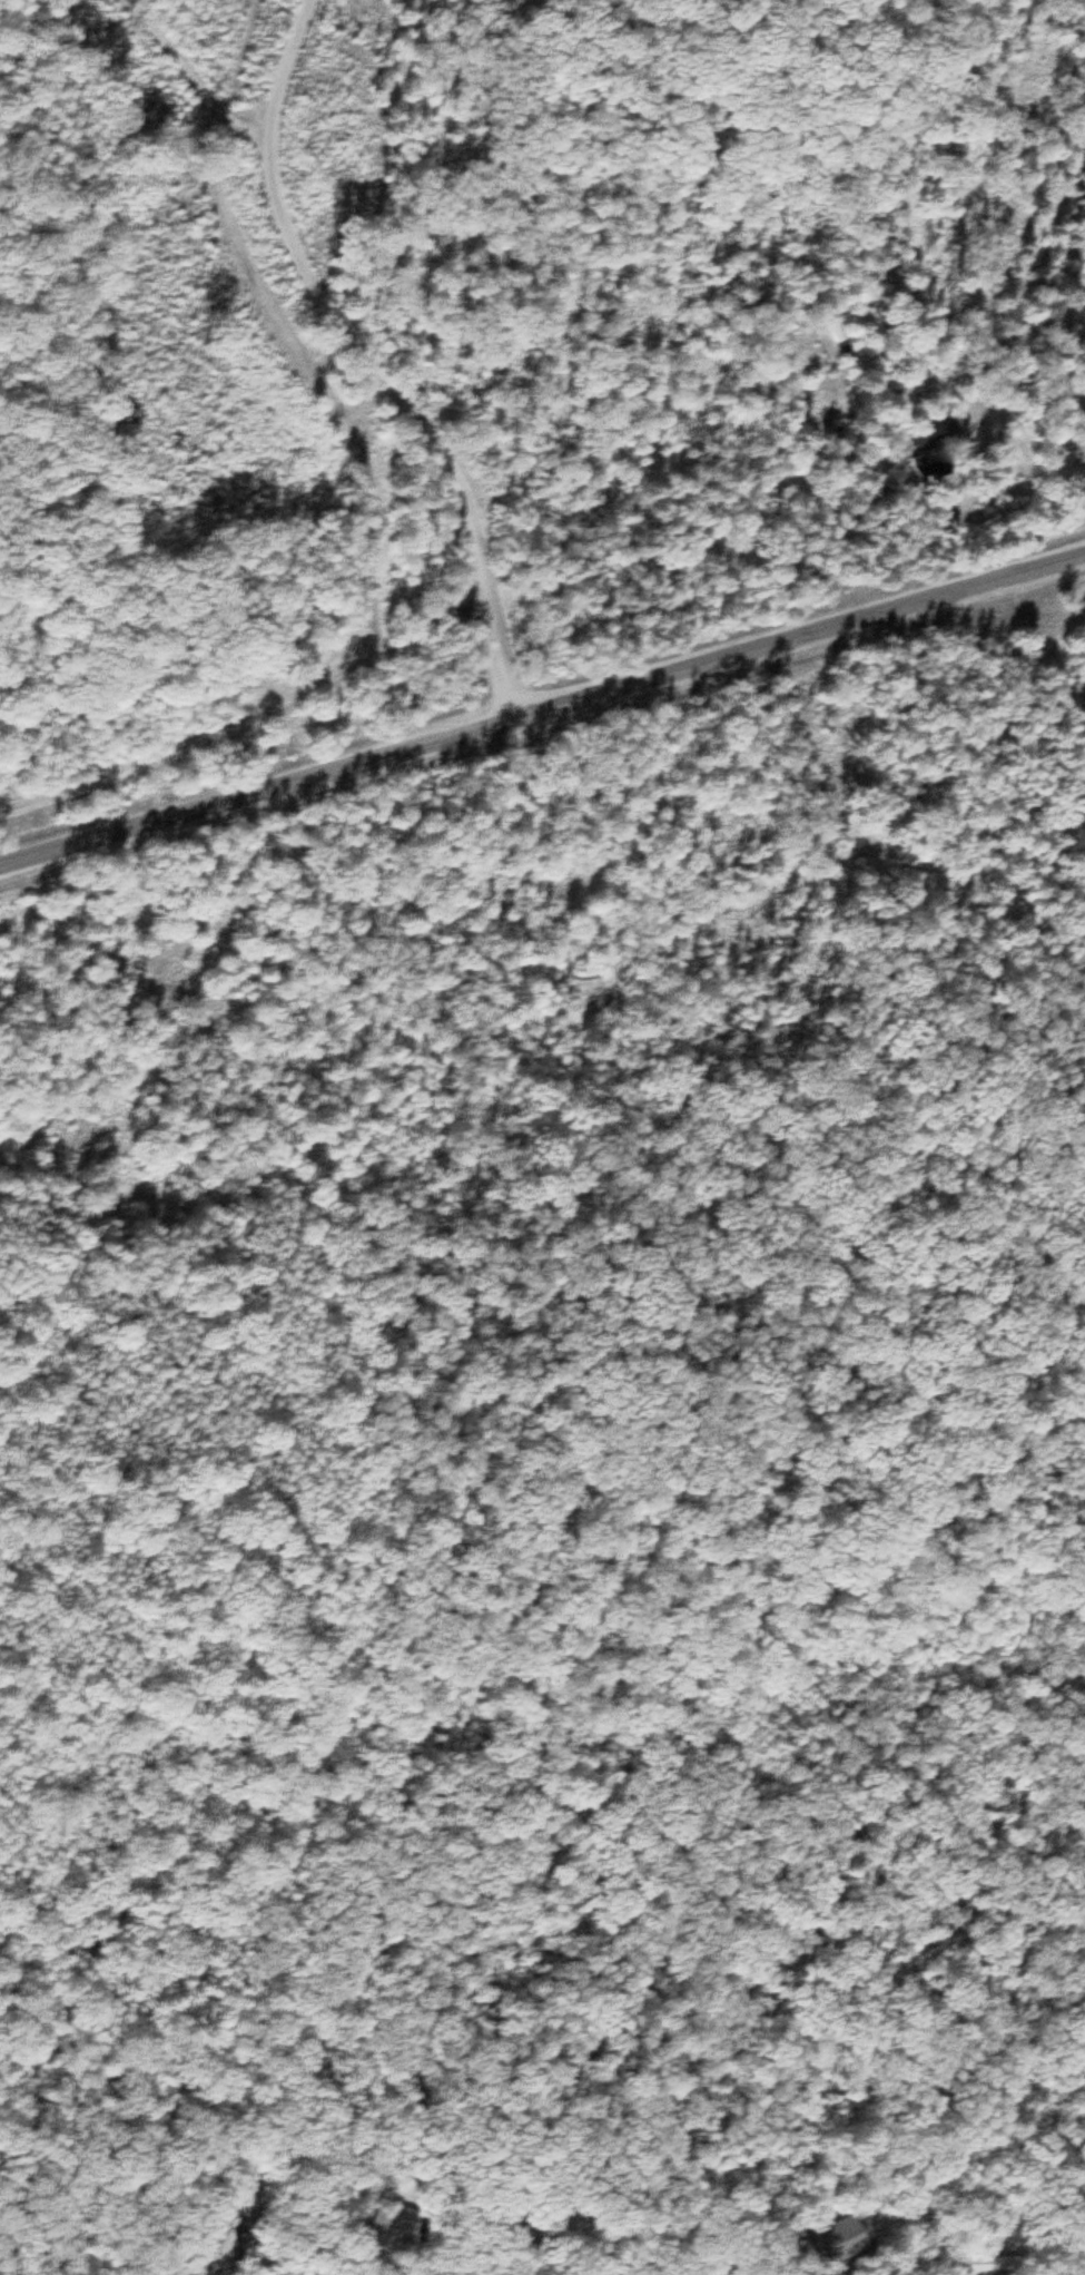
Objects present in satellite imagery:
road: (189, 80)
road: (361, 364)
building: (927, 435)
building: (929, 465)
road: (542, 713)
road: (249, 724)
building: (372, 2227)
building: (828, 2240)
building: (210, 2243)
building: (966, 2265)

